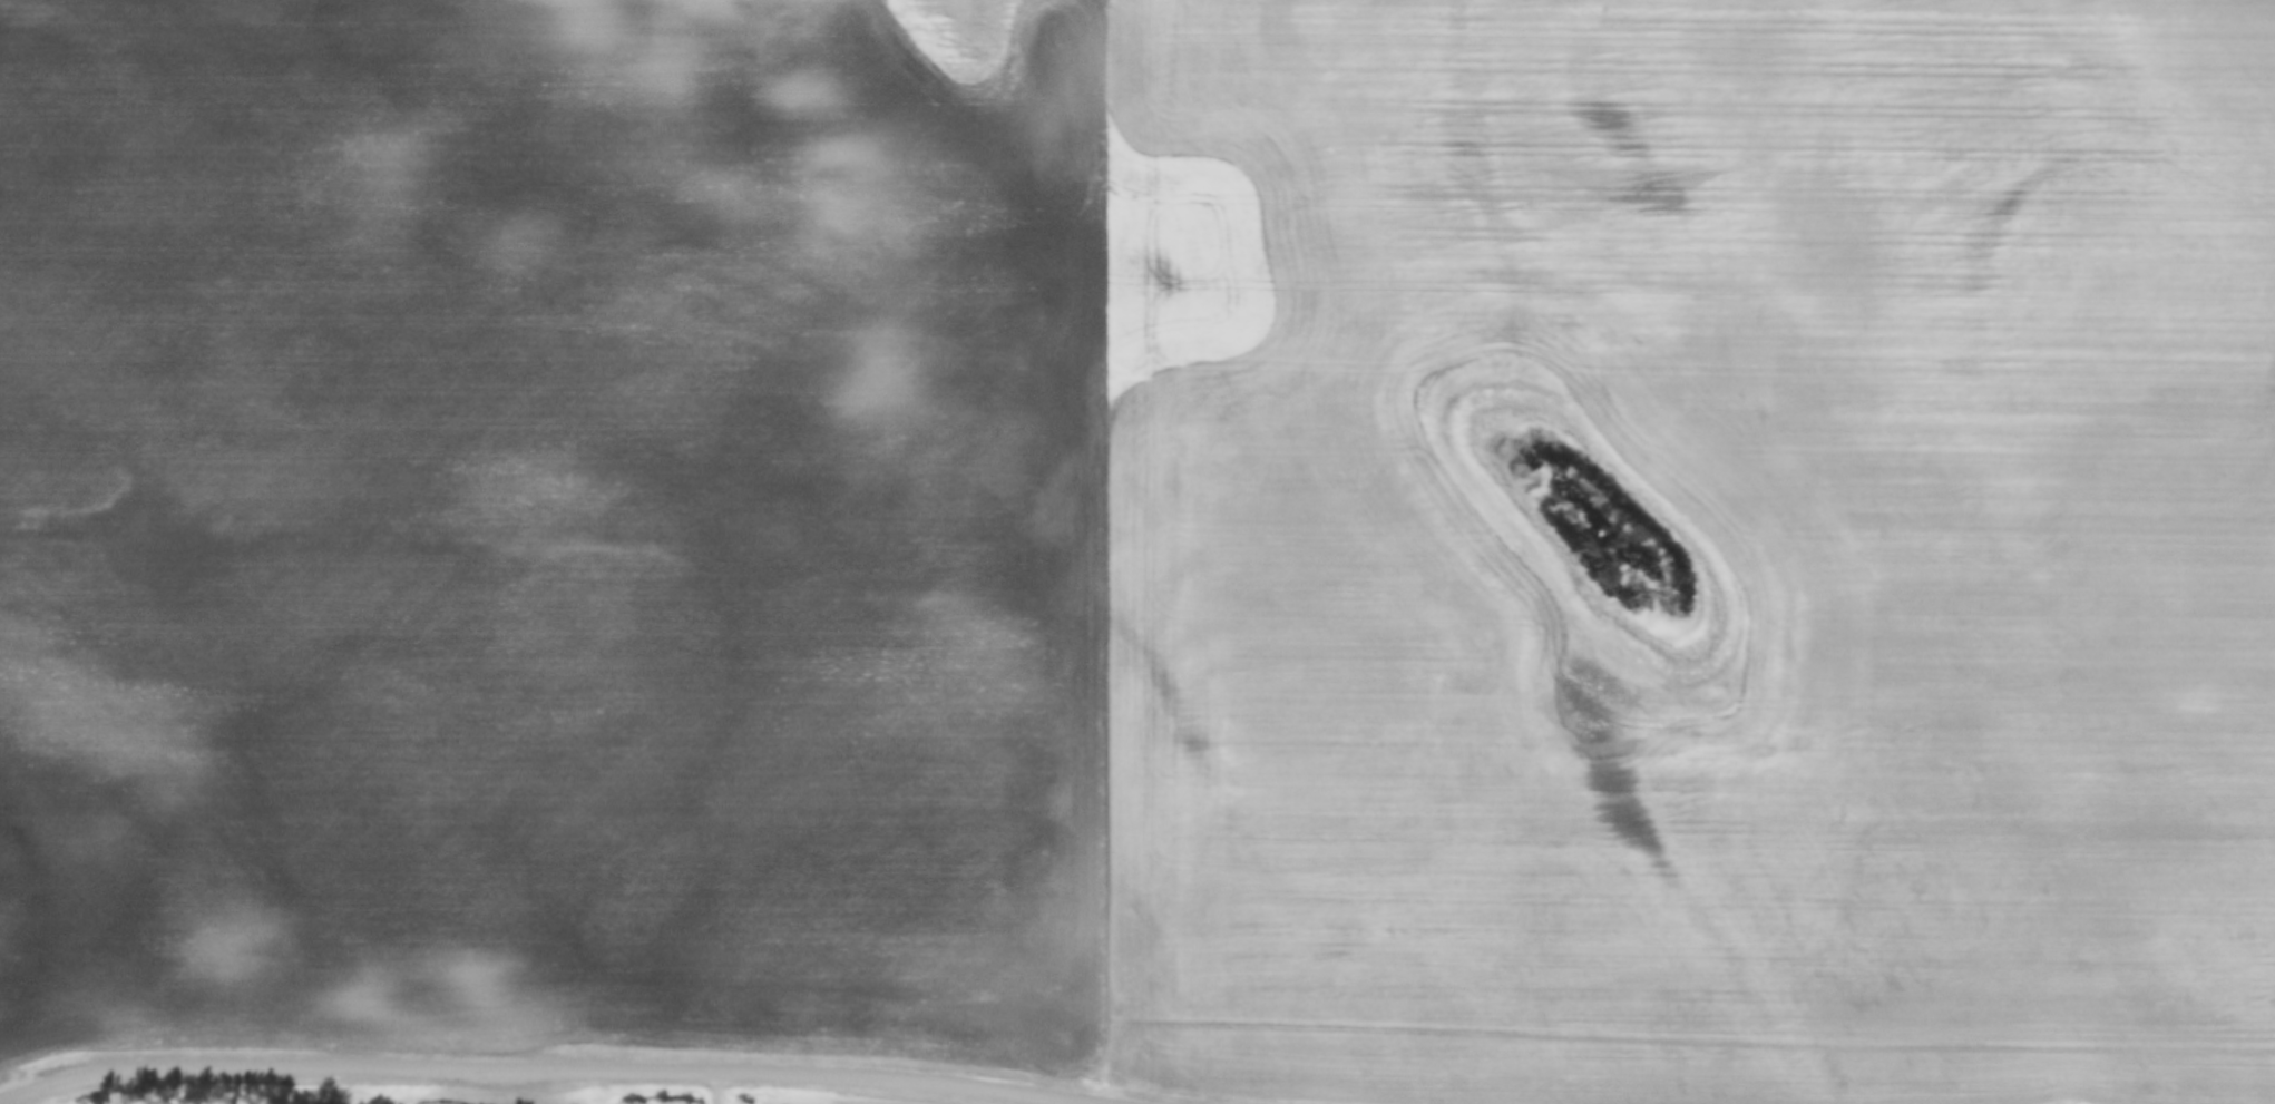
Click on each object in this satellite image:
road: (549, 1073)
road: (717, 1088)

